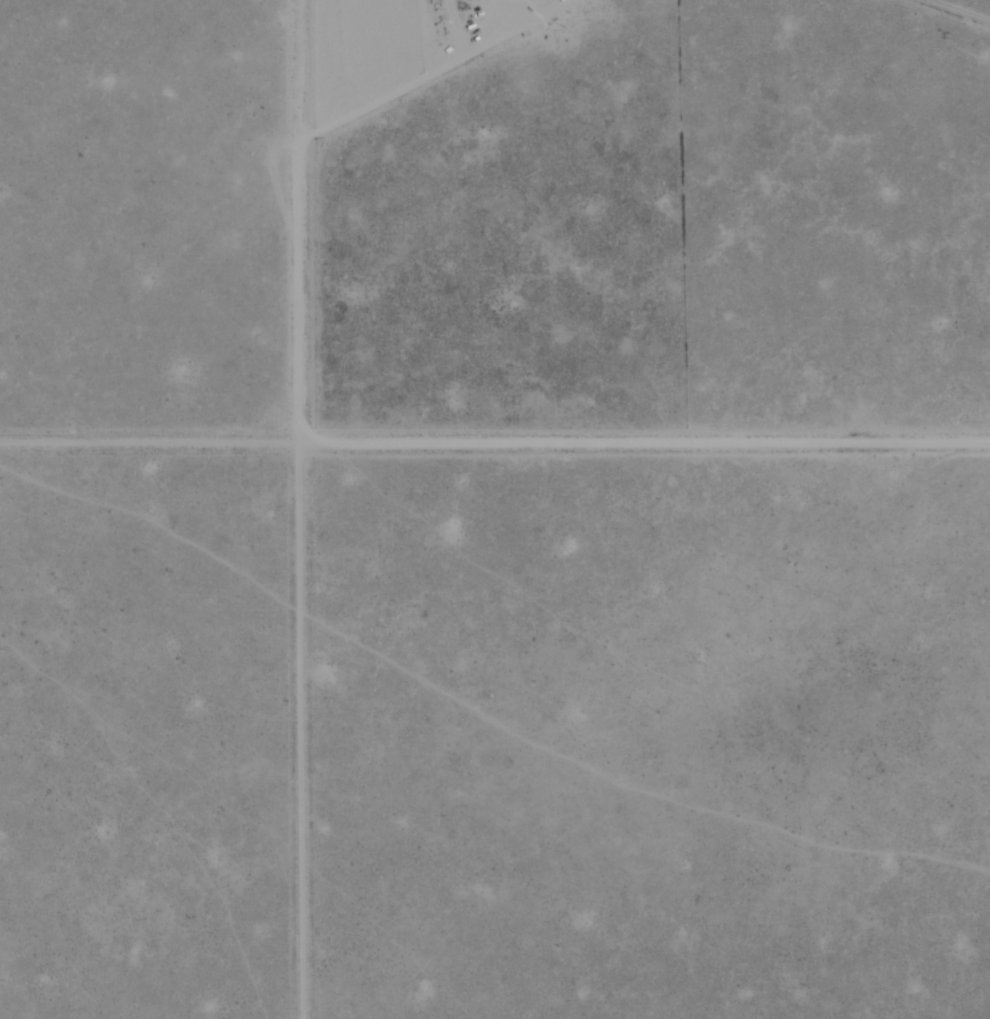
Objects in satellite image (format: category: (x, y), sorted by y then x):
road: (952, 12)
road: (492, 18)
road: (536, 19)
road: (401, 88)
road: (495, 443)
road: (299, 509)

